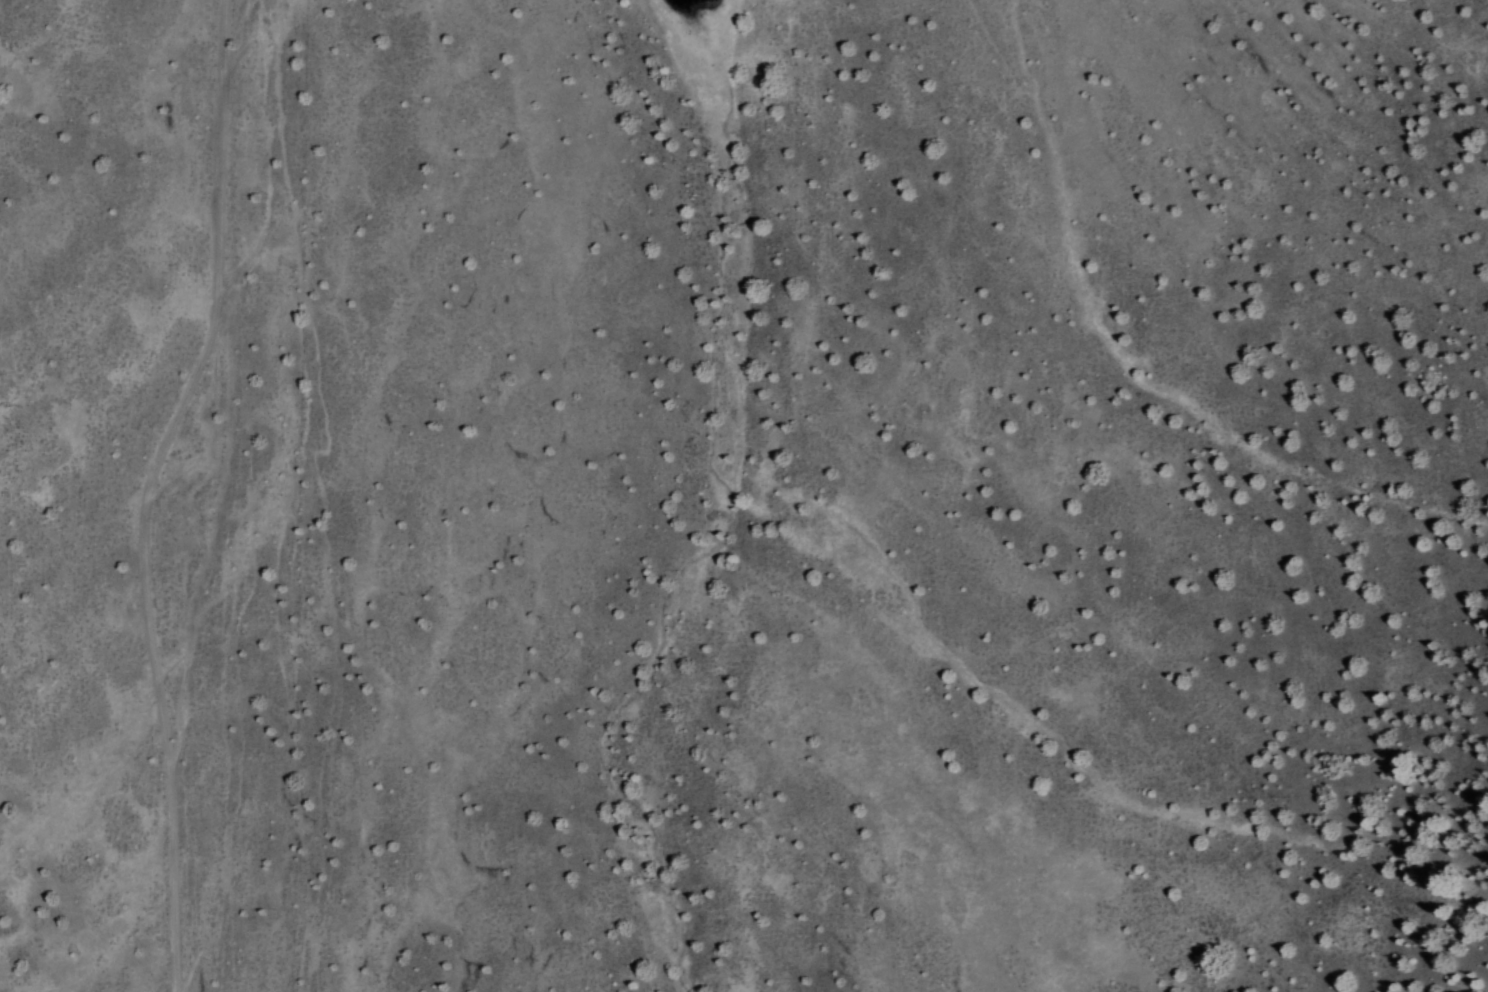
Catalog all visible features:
road: (150, 490)

